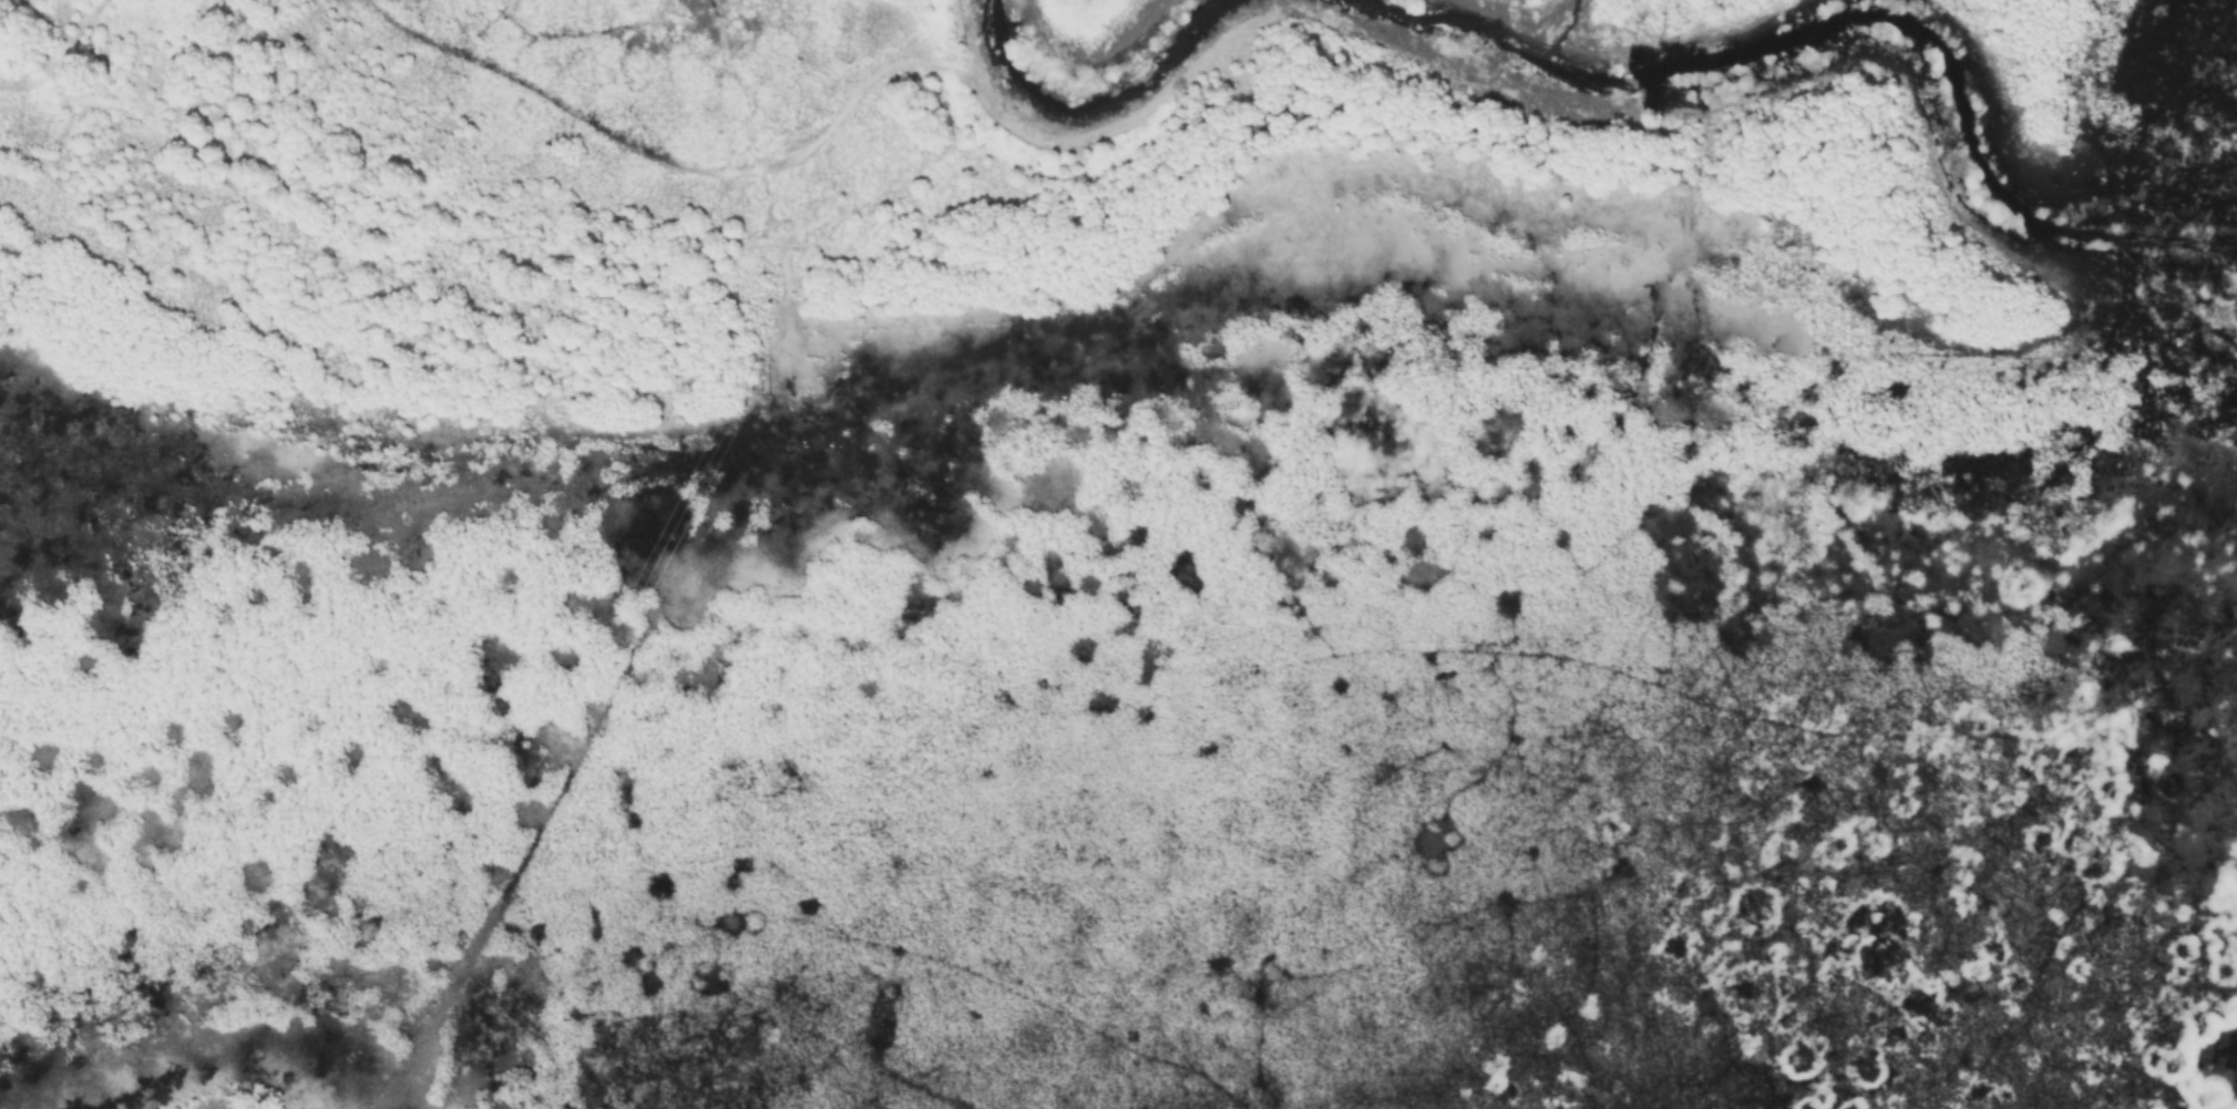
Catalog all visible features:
road: (59, 55)
road: (663, 158)

